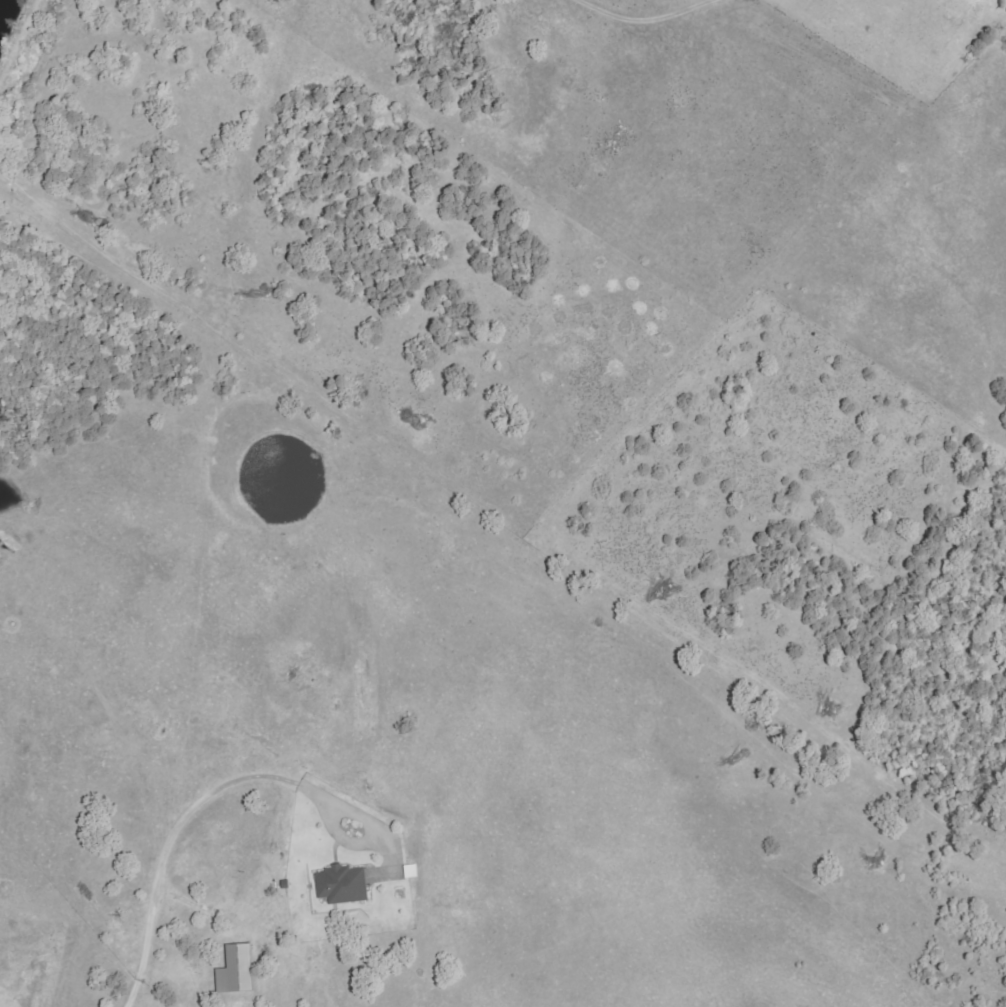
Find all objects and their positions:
building: (346, 884)
building: (241, 969)

